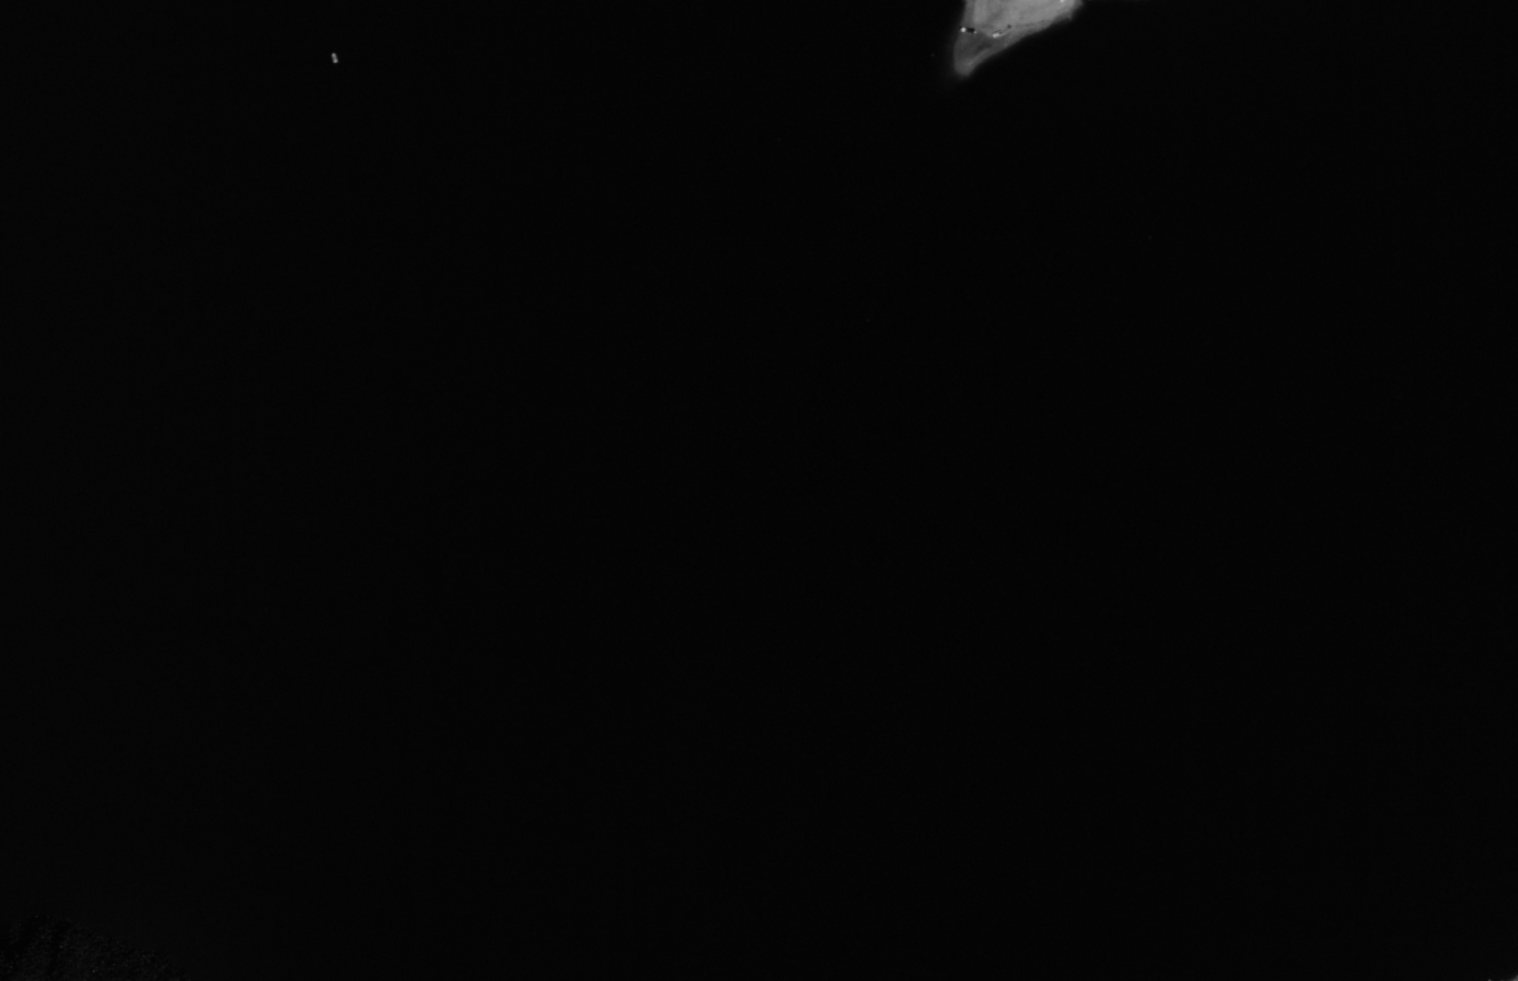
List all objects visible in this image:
river: (1019, 570)

